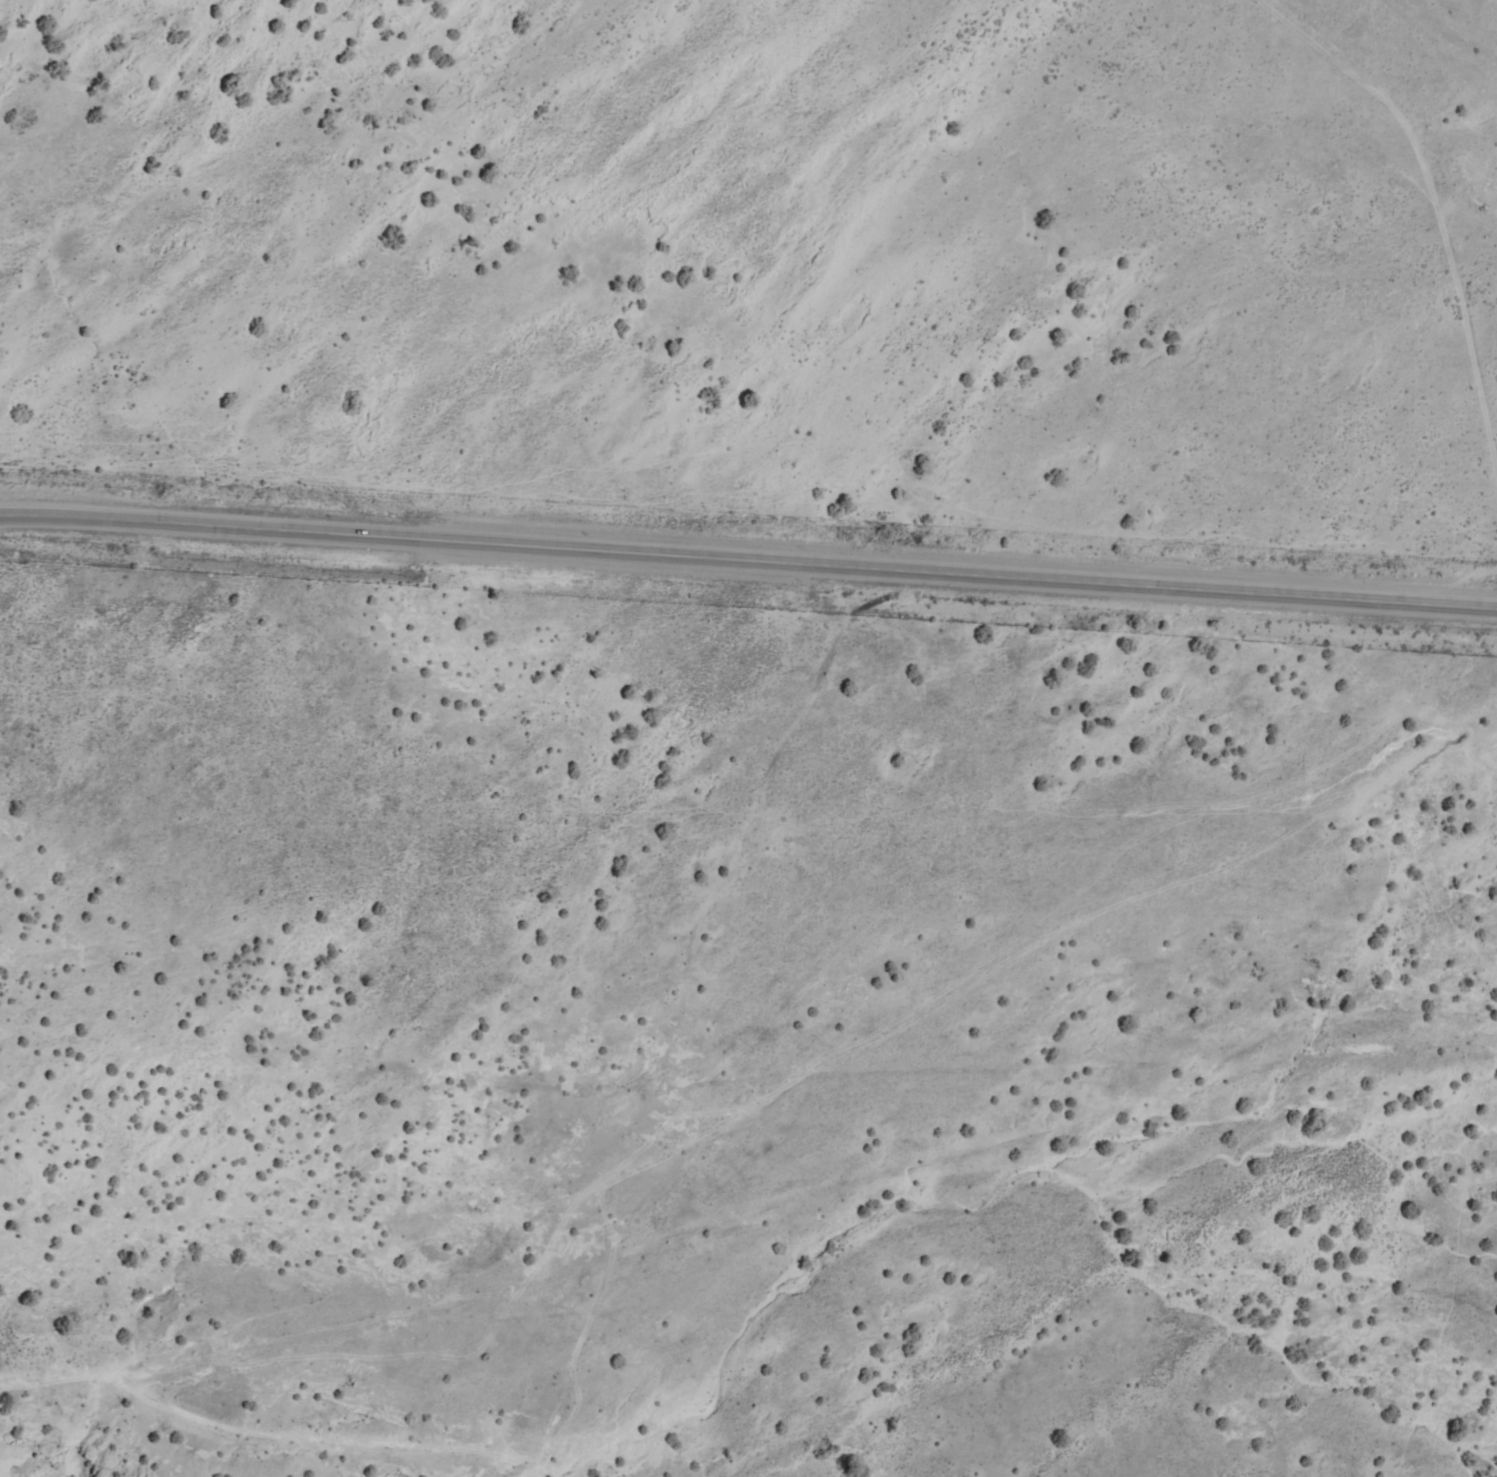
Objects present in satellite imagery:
road: (1436, 186)
road: (748, 559)
road: (288, 1434)

